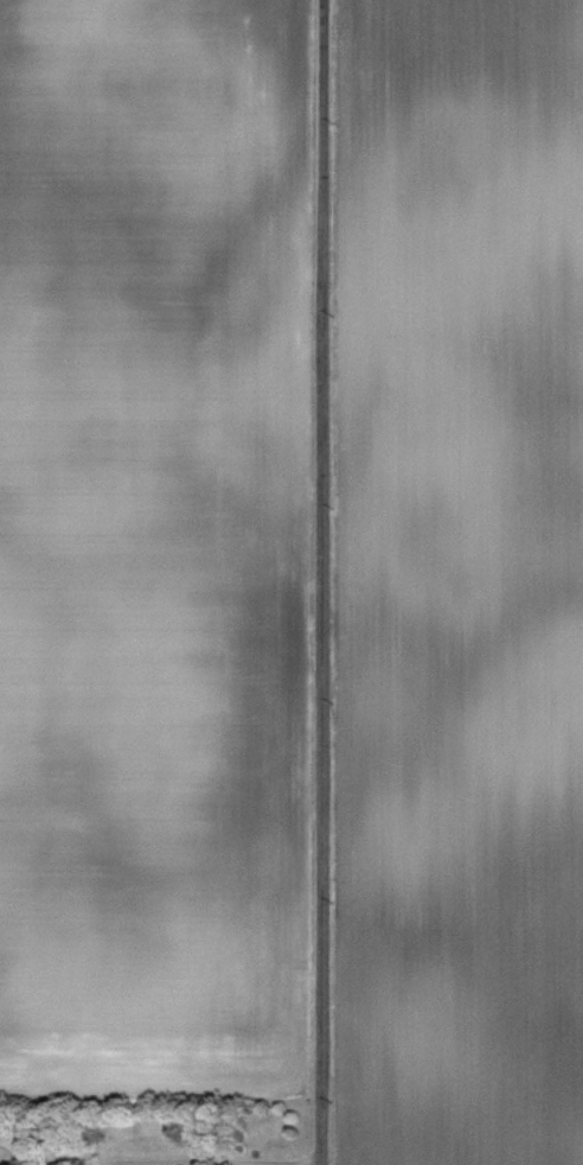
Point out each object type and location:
road: (320, 581)
road: (158, 1161)

